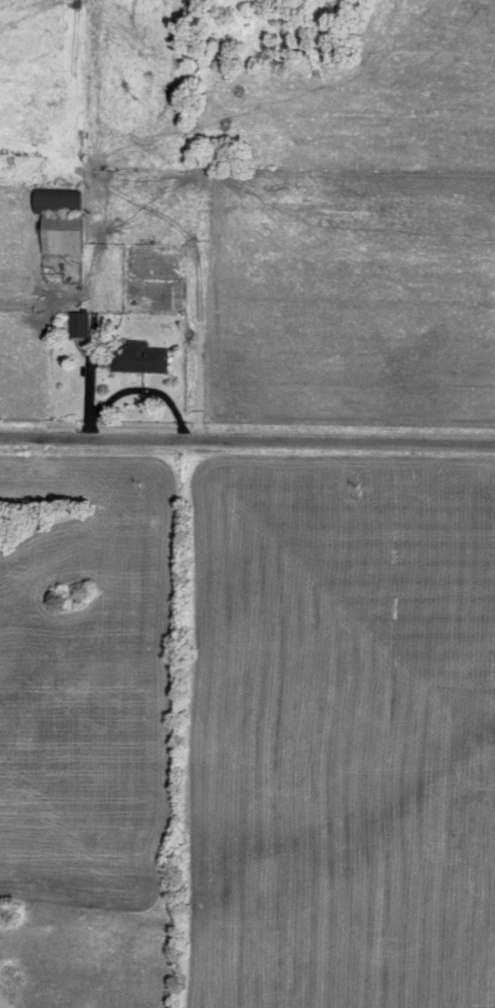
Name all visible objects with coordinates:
building: (60, 205)
building: (65, 241)
building: (81, 328)
building: (138, 362)
road: (91, 387)
road: (135, 394)
road: (247, 439)

